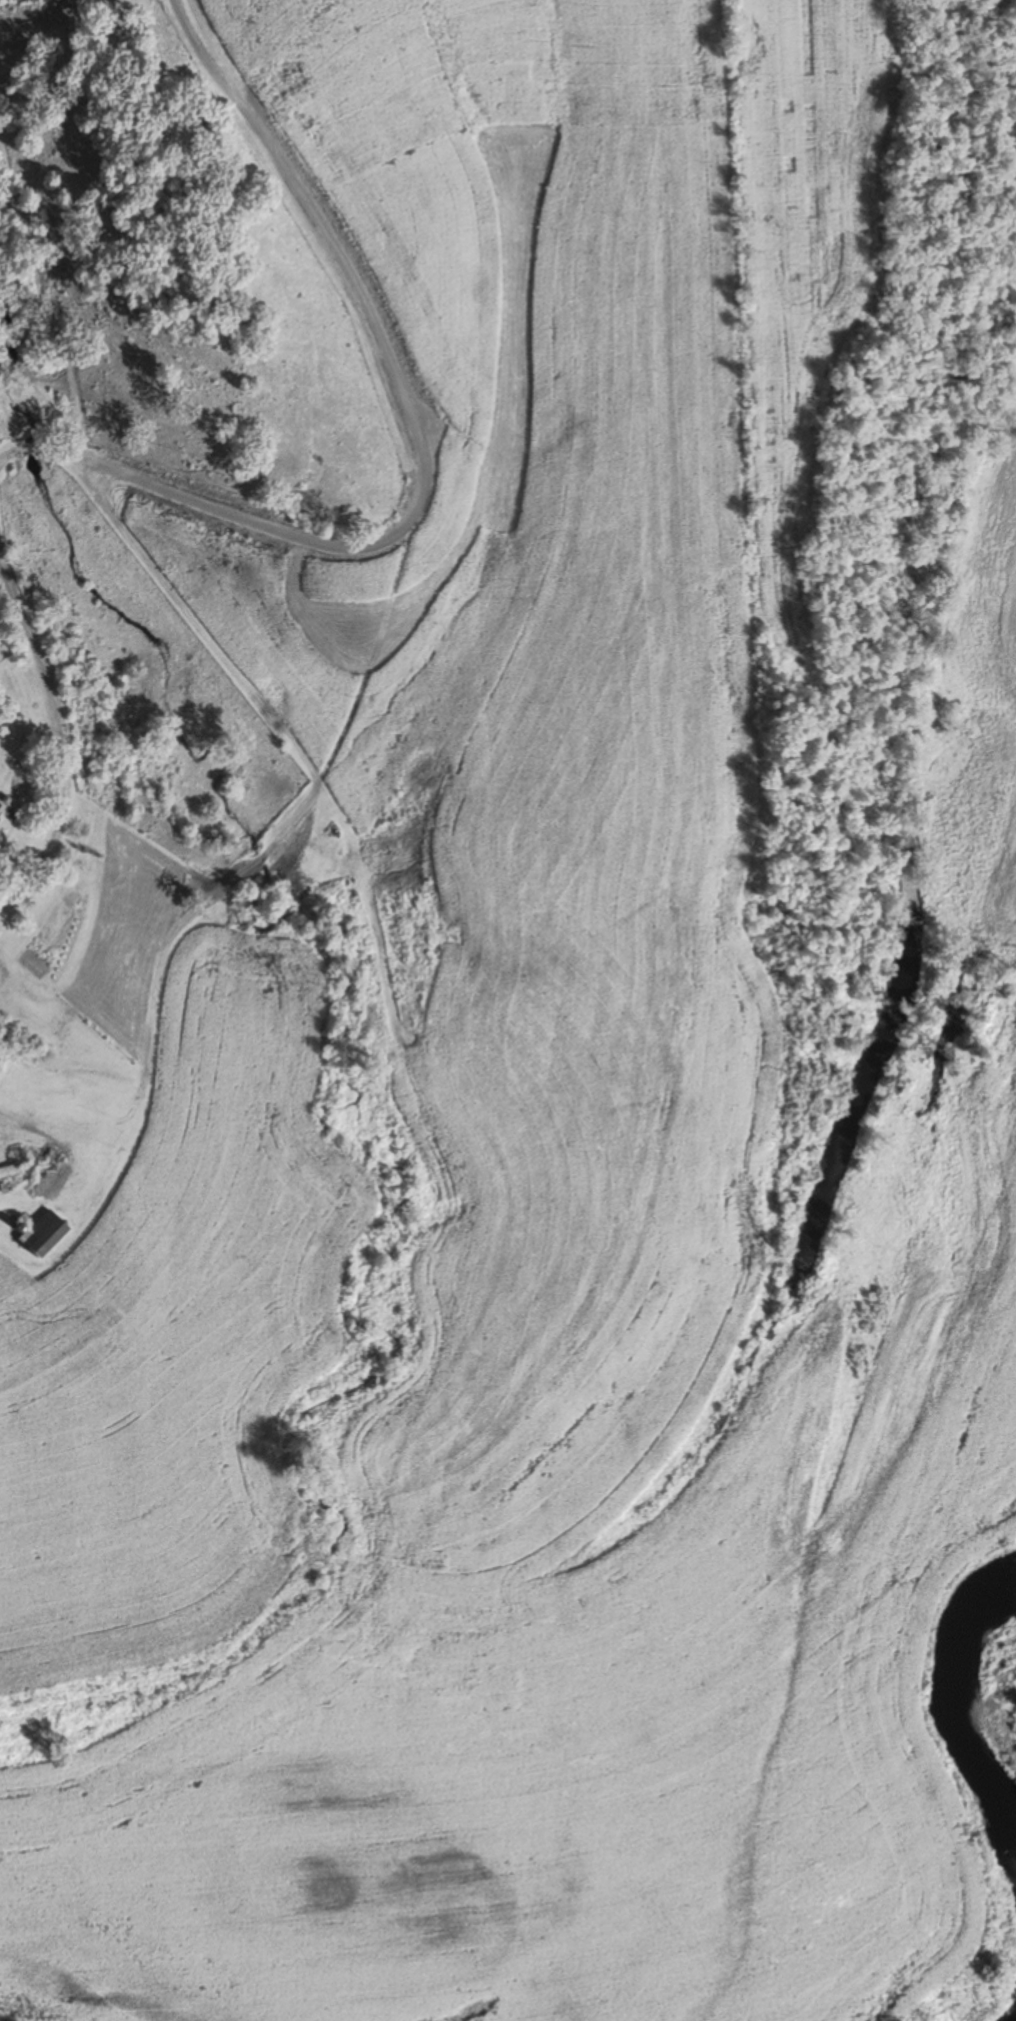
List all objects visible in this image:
building: (0, 810)
building: (32, 1076)
building: (113, 1119)
building: (38, 1166)
building: (9, 1170)
building: (45, 1236)
river: (992, 1728)
river: (995, 2006)

